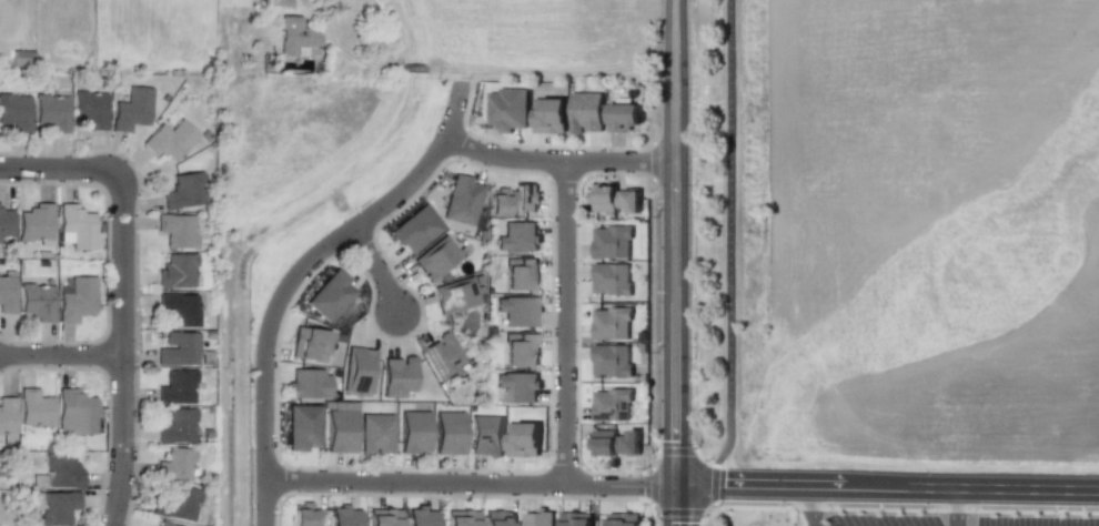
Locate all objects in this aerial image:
building: (279, 2)
building: (293, 36)
road: (352, 60)
road: (414, 68)
road: (556, 72)
building: (89, 109)
building: (131, 109)
building: (507, 109)
building: (14, 112)
building: (51, 112)
building: (586, 112)
building: (549, 115)
building: (623, 117)
building: (169, 140)
road: (559, 162)
road: (61, 170)
building: (182, 191)
building: (526, 198)
building: (615, 199)
building: (461, 200)
building: (498, 201)
building: (6, 223)
building: (36, 224)
building: (77, 226)
building: (175, 230)
building: (415, 230)
building: (517, 236)
building: (612, 242)
building: (435, 257)
road: (677, 263)
road: (730, 263)
road: (375, 270)
building: (175, 271)
road: (294, 274)
building: (520, 274)
building: (612, 279)
building: (7, 294)
building: (330, 296)
building: (455, 296)
building: (77, 300)
building: (37, 302)
building: (177, 308)
building: (517, 311)
road: (566, 323)
building: (612, 323)
building: (307, 344)
road: (122, 348)
building: (177, 348)
building: (520, 350)
road: (61, 355)
building: (442, 356)
building: (611, 360)
building: (359, 371)
building: (397, 376)
building: (309, 384)
building: (517, 386)
building: (175, 387)
building: (611, 405)
building: (34, 408)
building: (74, 413)
building: (7, 419)
building: (175, 425)
building: (302, 427)
building: (339, 431)
building: (413, 432)
building: (447, 433)
building: (375, 434)
building: (485, 435)
building: (523, 439)
building: (616, 442)
building: (173, 464)
building: (60, 472)
road: (471, 482)
road: (888, 490)
building: (174, 504)
building: (53, 506)
road: (815, 507)
road: (959, 509)
building: (304, 515)
building: (342, 516)
building: (382, 517)
building: (420, 517)
building: (460, 518)
building: (498, 518)
building: (538, 518)
building: (575, 518)
building: (624, 519)
building: (162, 524)

